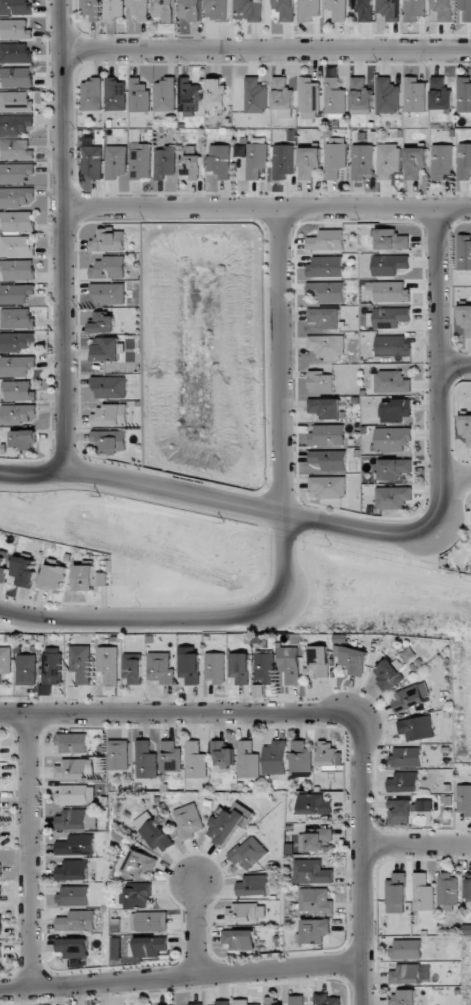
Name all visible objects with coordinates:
building: (14, 7)
building: (91, 9)
building: (114, 9)
building: (139, 9)
building: (217, 9)
building: (252, 9)
building: (285, 9)
building: (337, 9)
building: (363, 9)
building: (389, 9)
building: (465, 9)
building: (164, 10)
building: (191, 10)
building: (309, 10)
building: (415, 10)
building: (441, 10)
building: (14, 29)
road: (265, 51)
building: (15, 53)
building: (16, 76)
building: (92, 94)
building: (165, 94)
building: (216, 94)
building: (282, 94)
building: (440, 94)
building: (464, 94)
building: (115, 95)
building: (139, 95)
building: (309, 95)
building: (414, 95)
building: (255, 96)
building: (387, 96)
building: (188, 97)
building: (335, 99)
building: (15, 101)
building: (15, 125)
building: (15, 149)
building: (335, 157)
building: (219, 160)
building: (388, 160)
building: (91, 161)
building: (140, 161)
building: (256, 161)
building: (282, 161)
building: (361, 161)
building: (441, 161)
building: (464, 161)
building: (115, 162)
building: (164, 162)
building: (308, 162)
building: (414, 162)
building: (191, 163)
building: (15, 172)
building: (16, 197)
road: (266, 209)
building: (17, 221)
road: (62, 236)
building: (391, 239)
building: (326, 240)
building: (108, 241)
building: (16, 246)
building: (464, 252)
building: (389, 264)
building: (325, 266)
building: (109, 268)
building: (18, 269)
building: (326, 291)
building: (389, 291)
building: (16, 293)
building: (108, 293)
building: (325, 317)
building: (389, 317)
building: (17, 318)
building: (465, 319)
building: (102, 322)
building: (16, 341)
building: (326, 345)
building: (392, 346)
building: (108, 349)
road: (453, 363)
building: (17, 366)
road: (435, 373)
building: (320, 381)
building: (391, 382)
building: (109, 386)
building: (19, 391)
building: (326, 407)
building: (396, 410)
building: (17, 413)
building: (110, 415)
building: (466, 428)
building: (327, 435)
building: (24, 439)
building: (110, 439)
building: (393, 439)
building: (329, 459)
building: (393, 469)
road: (456, 473)
building: (328, 486)
building: (392, 497)
road: (210, 500)
road: (286, 547)
building: (3, 565)
building: (24, 571)
building: (52, 577)
building: (84, 577)
road: (429, 577)
building: (320, 660)
building: (355, 660)
building: (5, 661)
building: (81, 663)
building: (108, 664)
building: (290, 664)
building: (51, 666)
building: (160, 667)
building: (215, 667)
building: (132, 668)
building: (189, 668)
building: (265, 668)
building: (25, 669)
building: (240, 669)
building: (388, 675)
building: (411, 697)
road: (188, 714)
building: (416, 728)
building: (72, 743)
building: (222, 754)
building: (328, 754)
building: (119, 755)
building: (300, 756)
building: (170, 757)
building: (406, 757)
building: (275, 758)
building: (145, 760)
building: (248, 760)
building: (195, 761)
building: (73, 769)
building: (0, 775)
building: (404, 782)
building: (74, 794)
building: (464, 799)
building: (0, 802)
building: (315, 804)
building: (409, 810)
building: (76, 819)
building: (189, 821)
building: (228, 822)
building: (155, 832)
building: (0, 840)
building: (316, 840)
building: (76, 845)
road: (35, 850)
road: (424, 852)
building: (248, 853)
road: (378, 861)
building: (141, 863)
building: (0, 870)
building: (72, 870)
building: (313, 872)
building: (253, 885)
building: (468, 887)
building: (447, 892)
building: (396, 893)
building: (422, 893)
building: (73, 895)
building: (138, 896)
building: (317, 900)
building: (245, 912)
building: (76, 921)
building: (150, 921)
building: (0, 925)
road: (192, 928)
building: (466, 929)
building: (315, 930)
building: (239, 939)
building: (151, 946)
building: (73, 947)
building: (406, 949)
building: (0, 951)
building: (410, 973)
road: (189, 976)
building: (403, 997)
building: (296, 1000)
building: (328, 1000)
building: (274, 1001)
building: (221, 1002)
building: (242, 1002)

